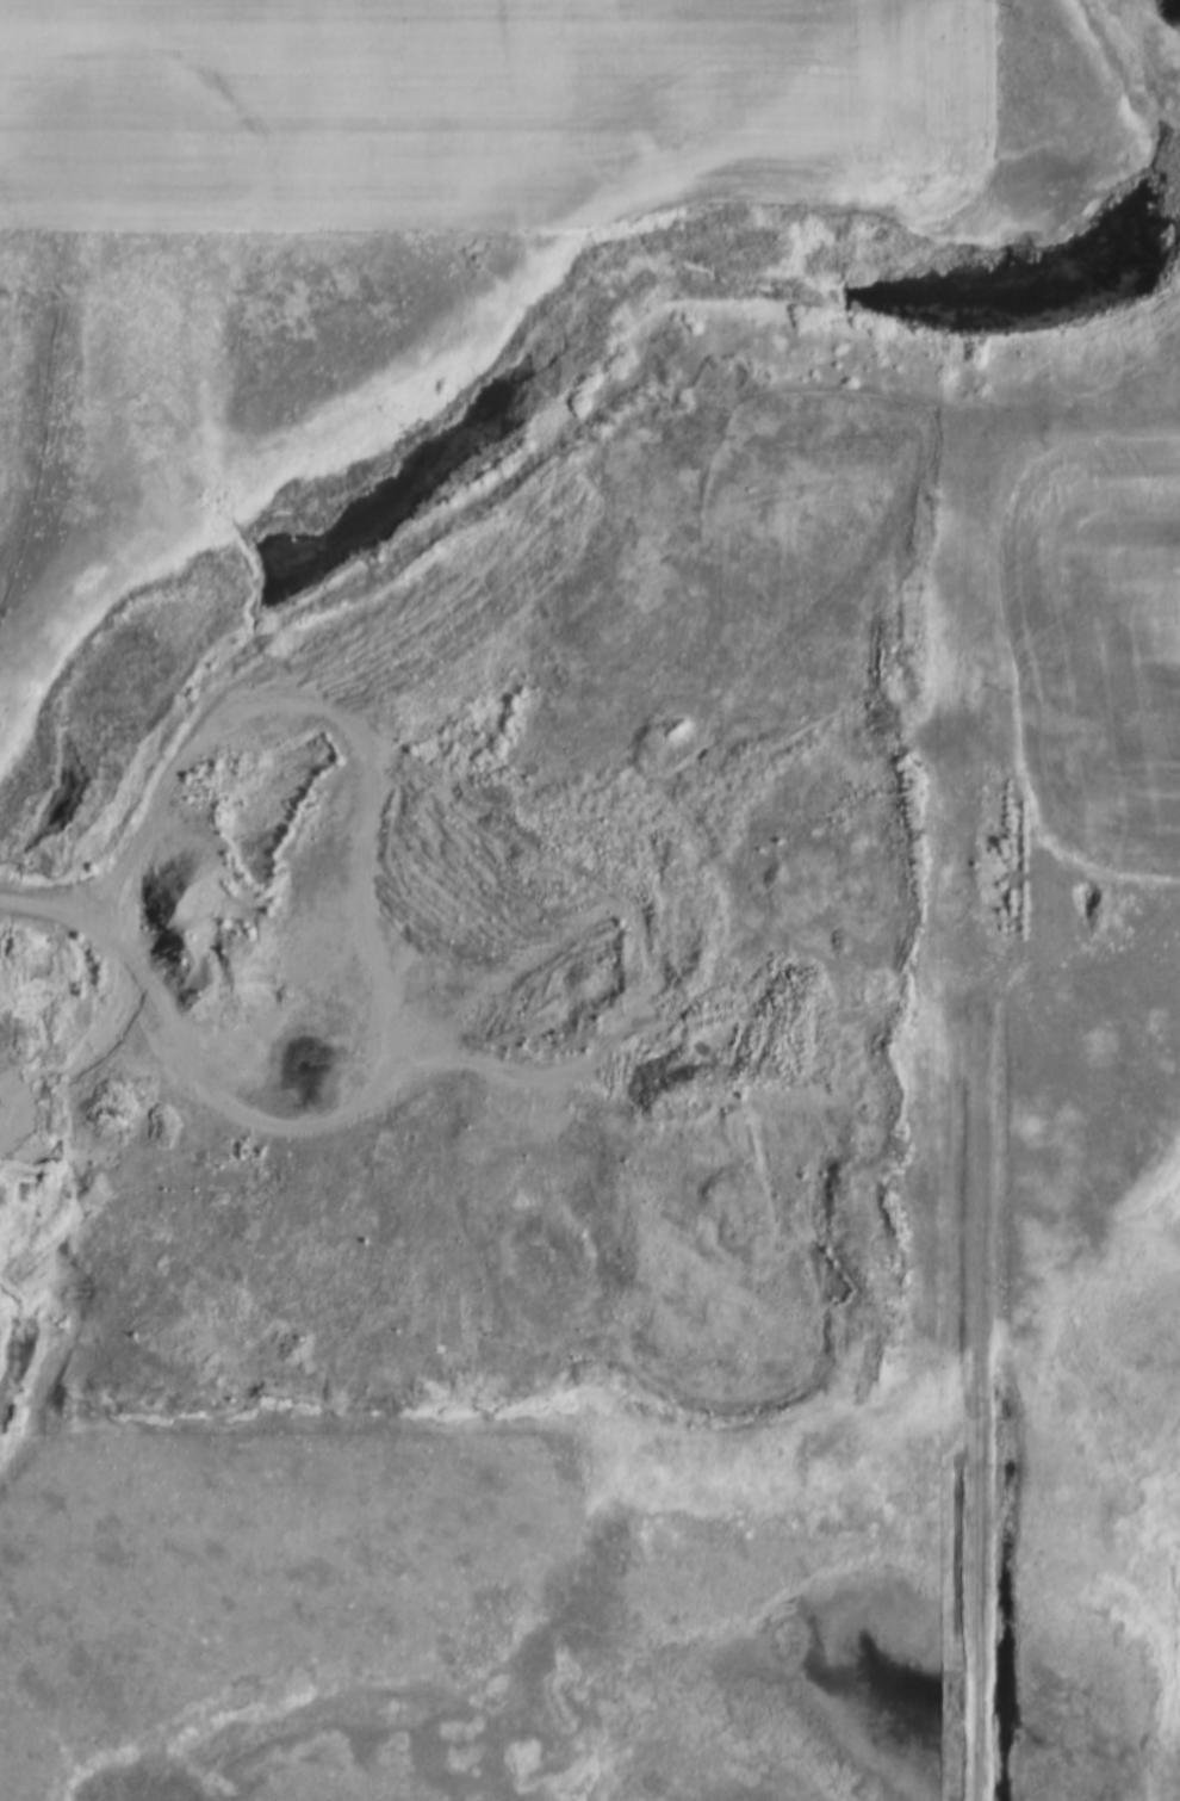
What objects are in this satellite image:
road: (977, 1286)

